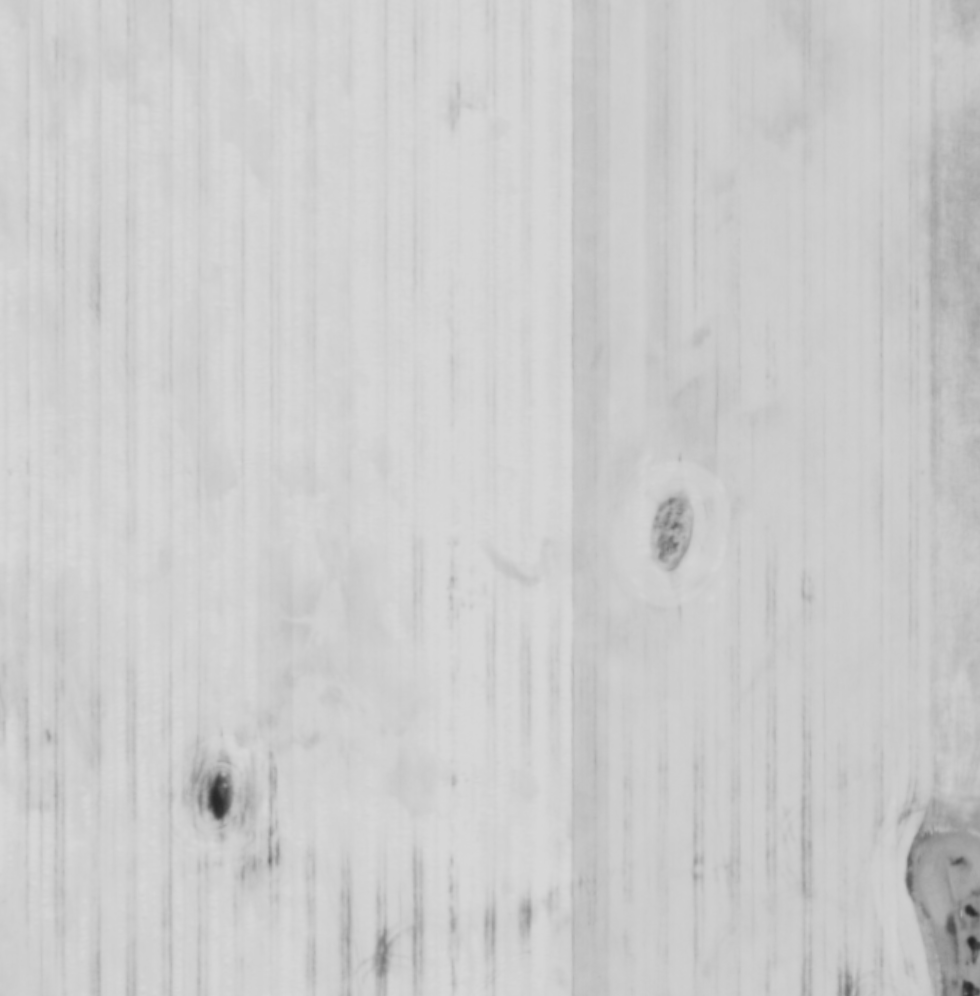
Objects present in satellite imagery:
road: (936, 903)

